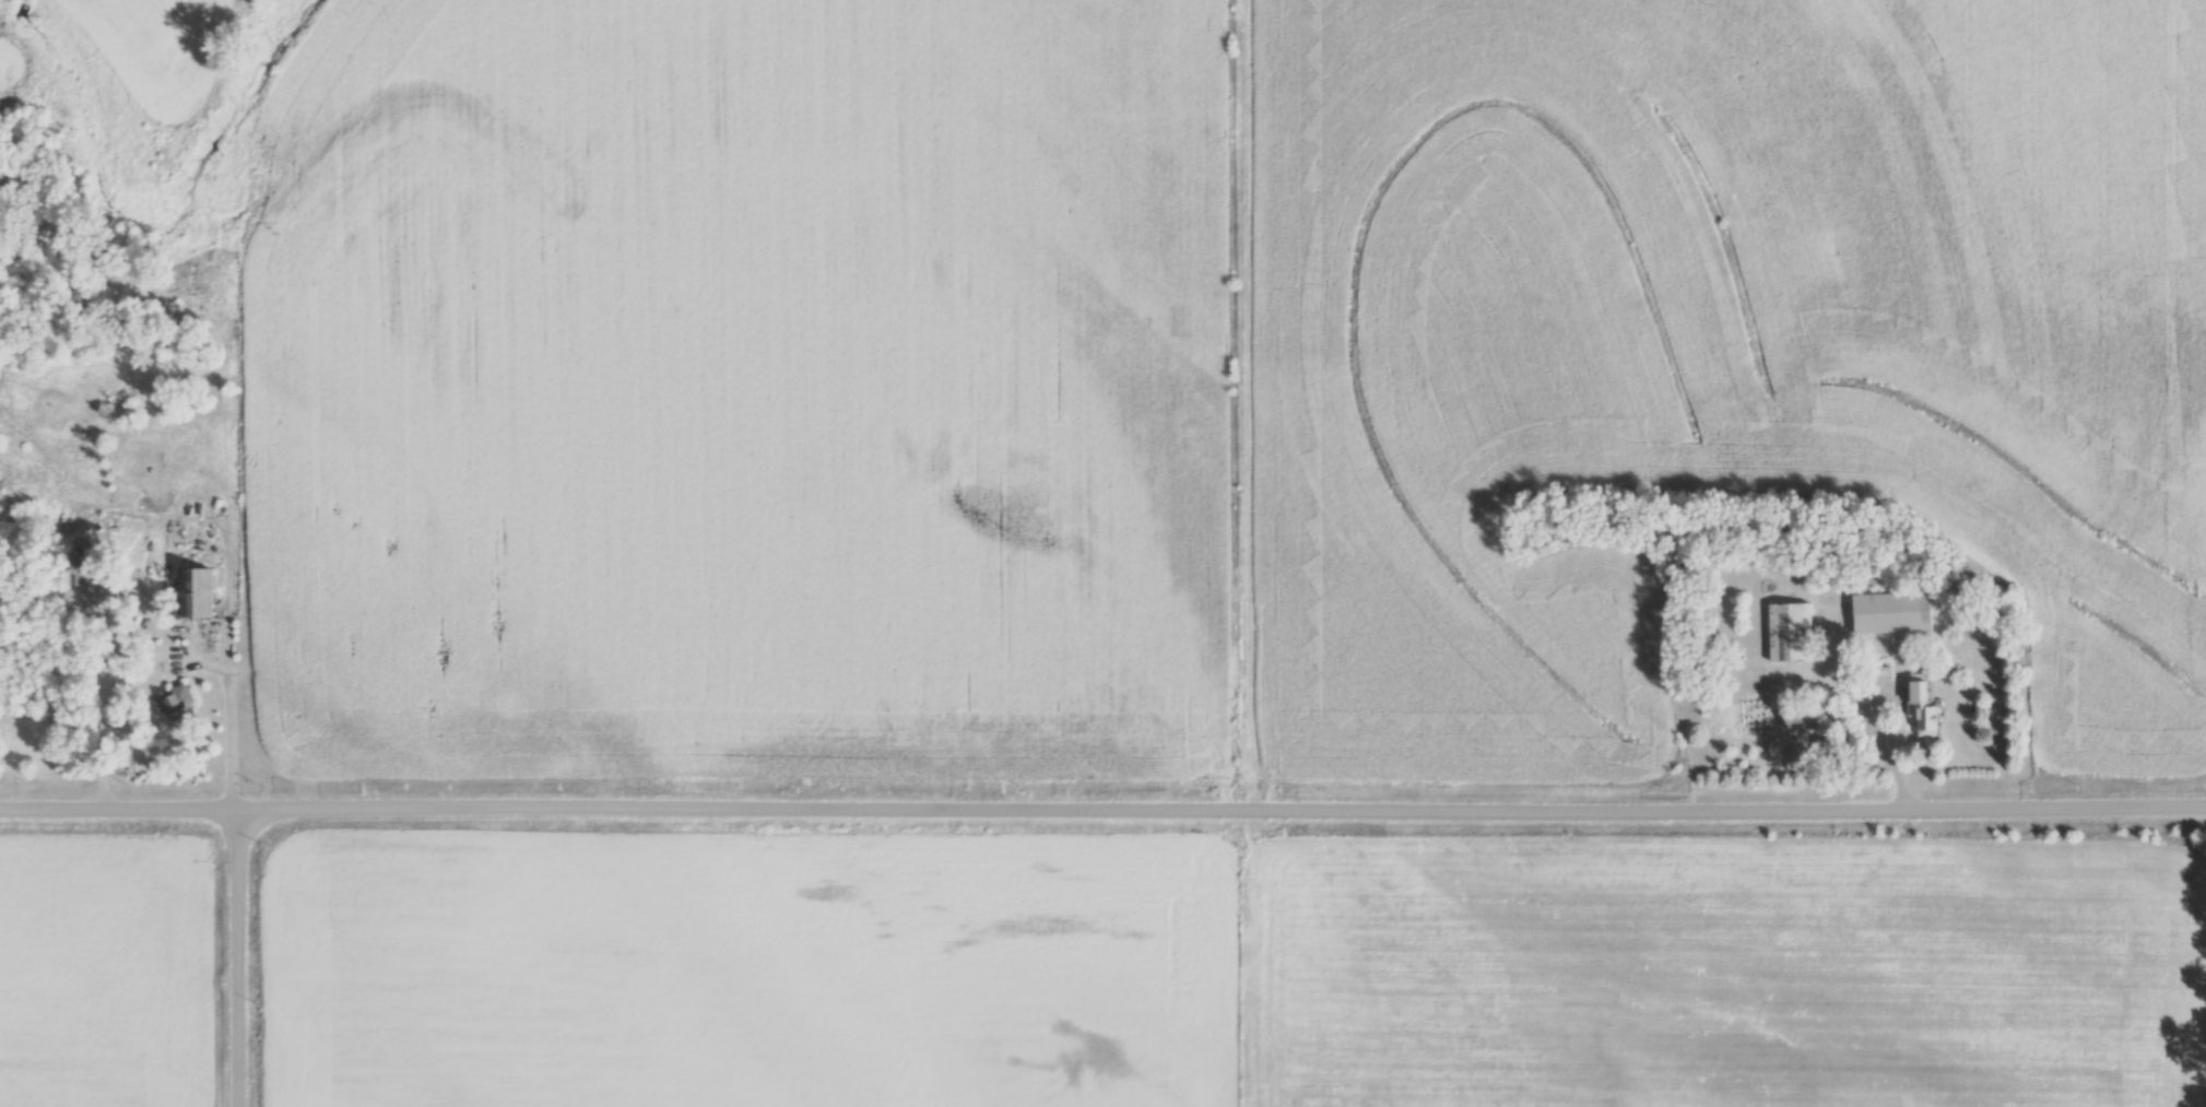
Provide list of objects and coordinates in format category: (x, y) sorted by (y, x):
building: (75, 569)
building: (199, 602)
building: (1891, 612)
building: (1789, 632)
building: (1921, 702)
building: (175, 704)
road: (227, 715)
building: (1801, 719)
road: (1881, 750)
road: (1102, 808)
road: (2099, 844)
road: (2202, 848)
road: (237, 957)

